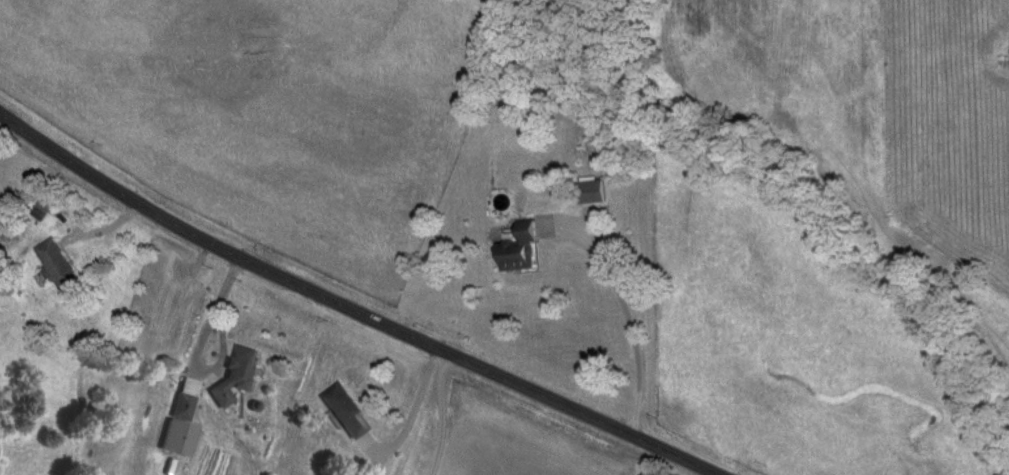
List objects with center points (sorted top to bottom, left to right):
building: (590, 191)
building: (43, 209)
building: (516, 249)
building: (56, 264)
road: (349, 309)
building: (234, 374)
building: (184, 399)
building: (343, 411)
road: (441, 413)
building: (107, 431)
building: (175, 439)

